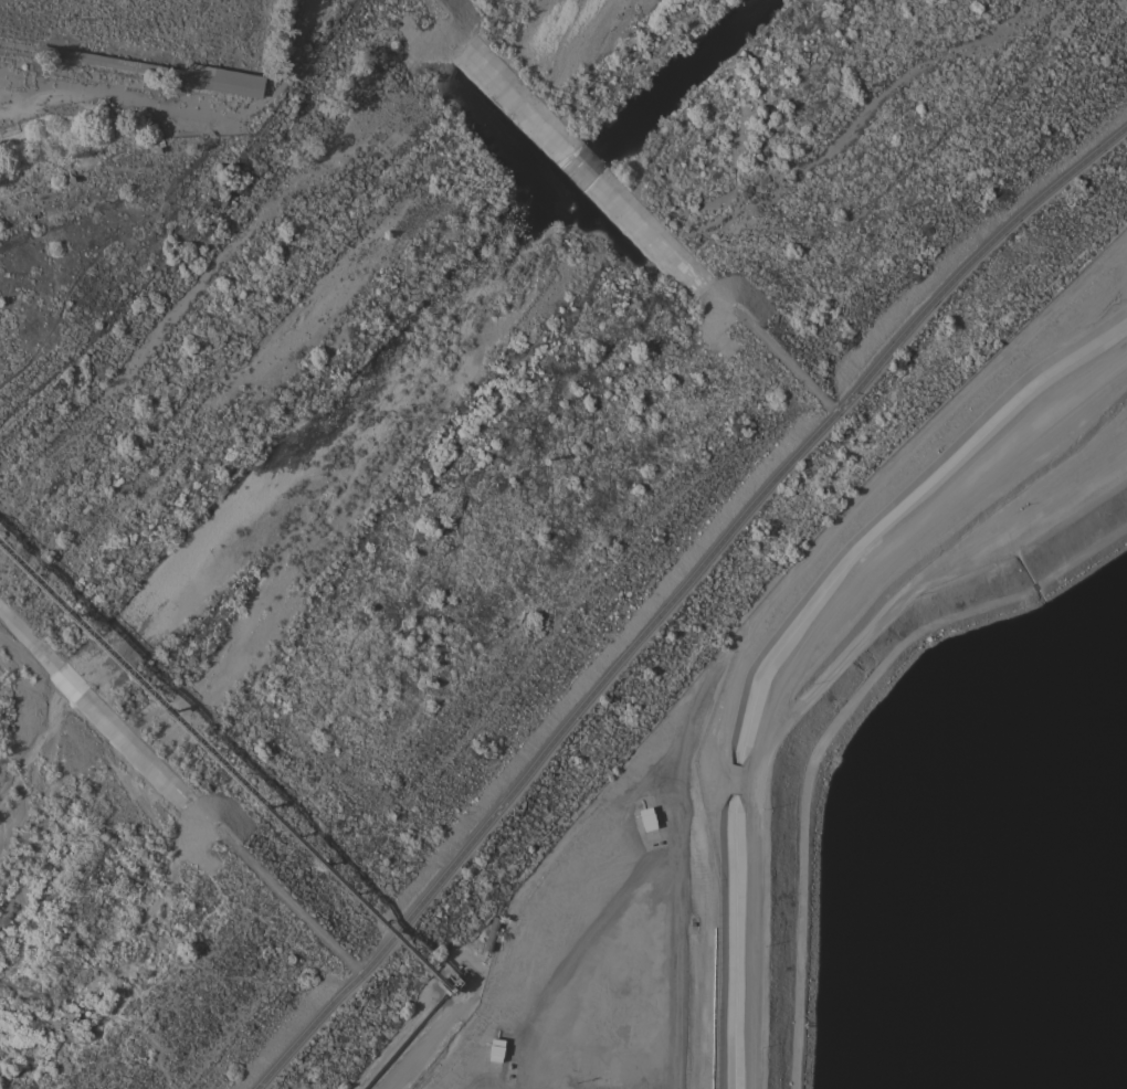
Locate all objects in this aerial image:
quarry: (243, 21)
building: (156, 68)
river: (555, 77)
road: (188, 103)
river: (352, 404)
road: (676, 592)
road: (798, 655)
road: (722, 776)
building: (646, 818)
road: (548, 907)
road: (681, 930)
building: (492, 933)
building: (449, 982)
building: (495, 1049)

